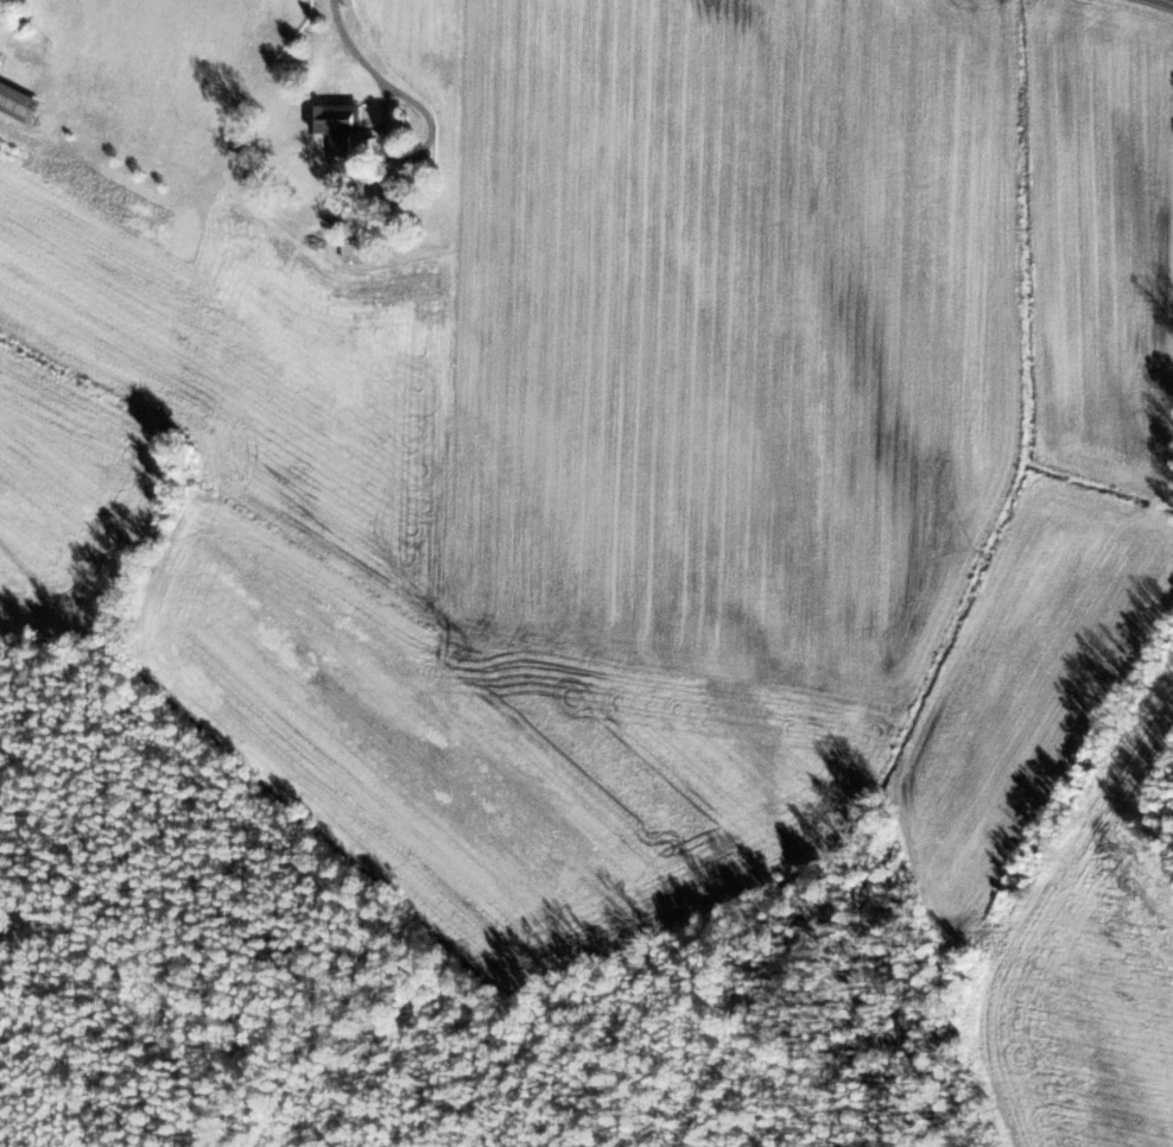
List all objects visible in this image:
road: (1172, 0)
building: (18, 103)
building: (335, 126)
building: (395, 197)
building: (350, 253)

